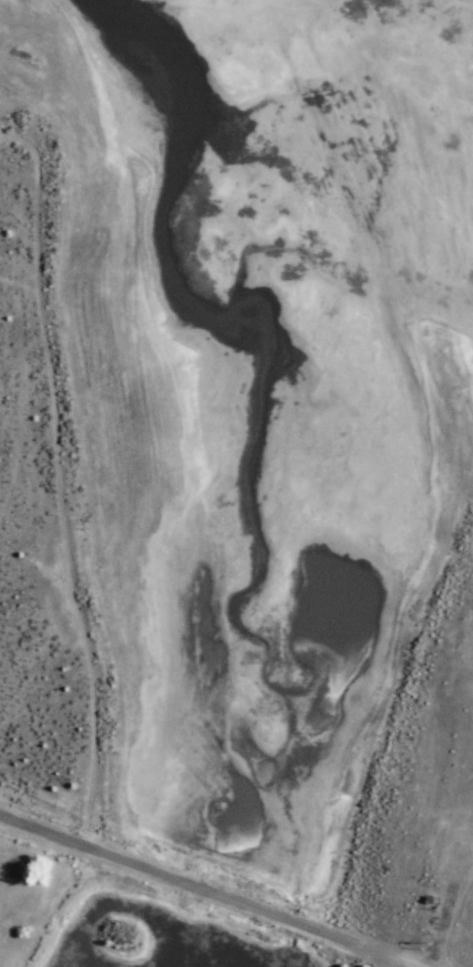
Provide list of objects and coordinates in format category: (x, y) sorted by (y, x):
road: (209, 892)

